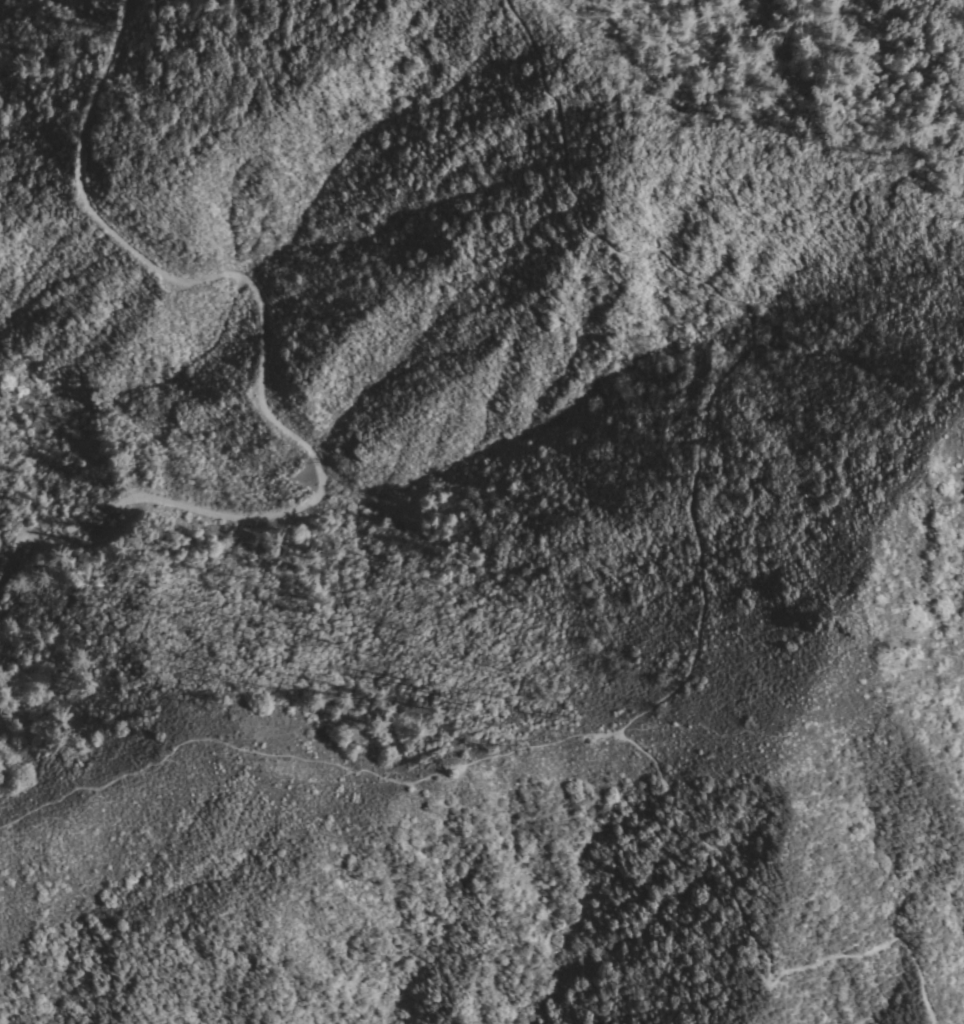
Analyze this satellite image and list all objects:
road: (759, 72)
road: (258, 372)
road: (701, 570)
road: (303, 752)
road: (872, 1019)

